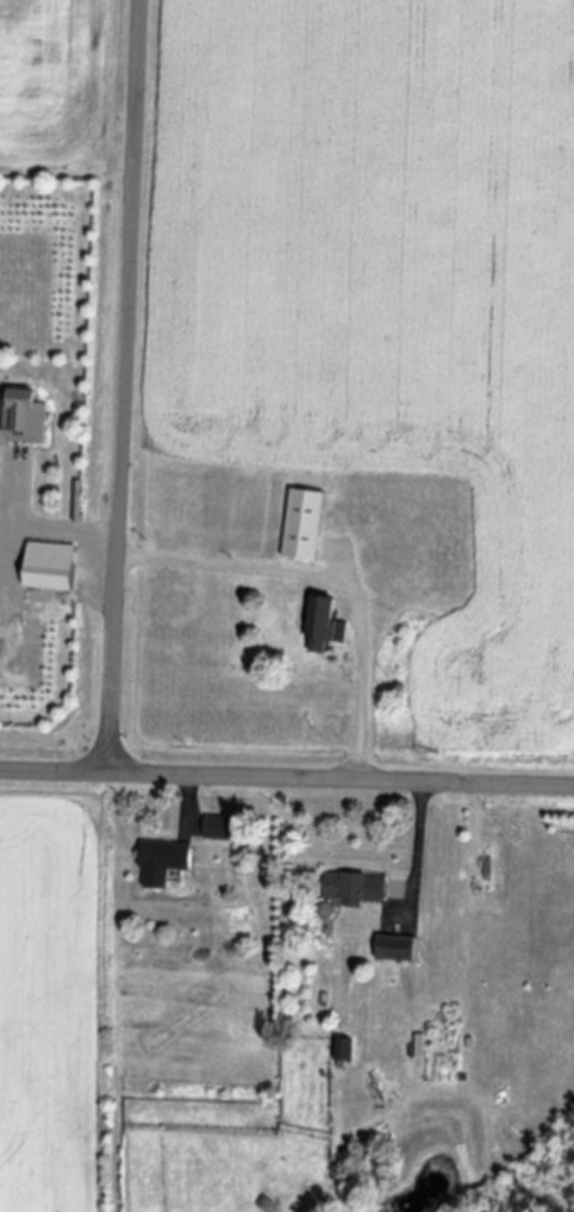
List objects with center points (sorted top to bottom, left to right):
road: (120, 384)
building: (20, 417)
building: (299, 526)
road: (61, 527)
building: (45, 566)
road: (324, 578)
building: (322, 620)
road: (287, 775)
road: (191, 793)
building: (224, 828)
road: (414, 844)
building: (160, 862)
building: (351, 889)
building: (392, 950)
building: (341, 1051)

